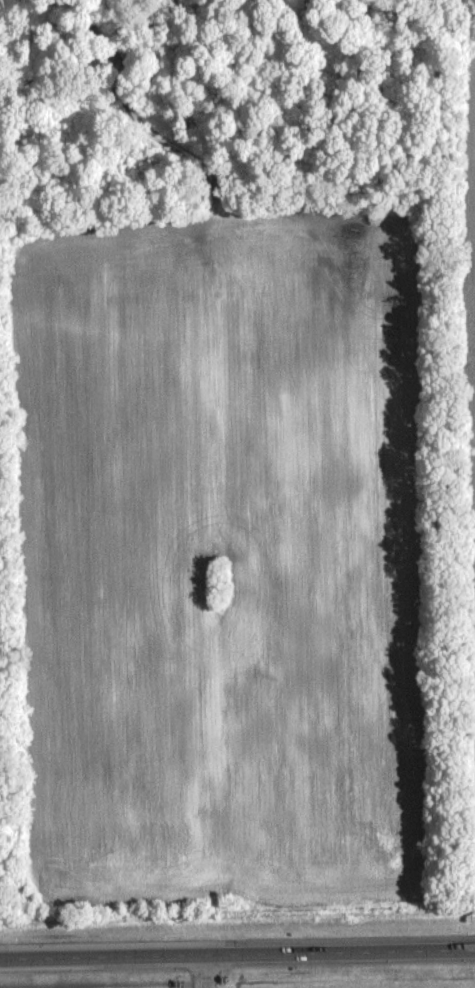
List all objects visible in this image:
road: (237, 954)
road: (199, 971)

